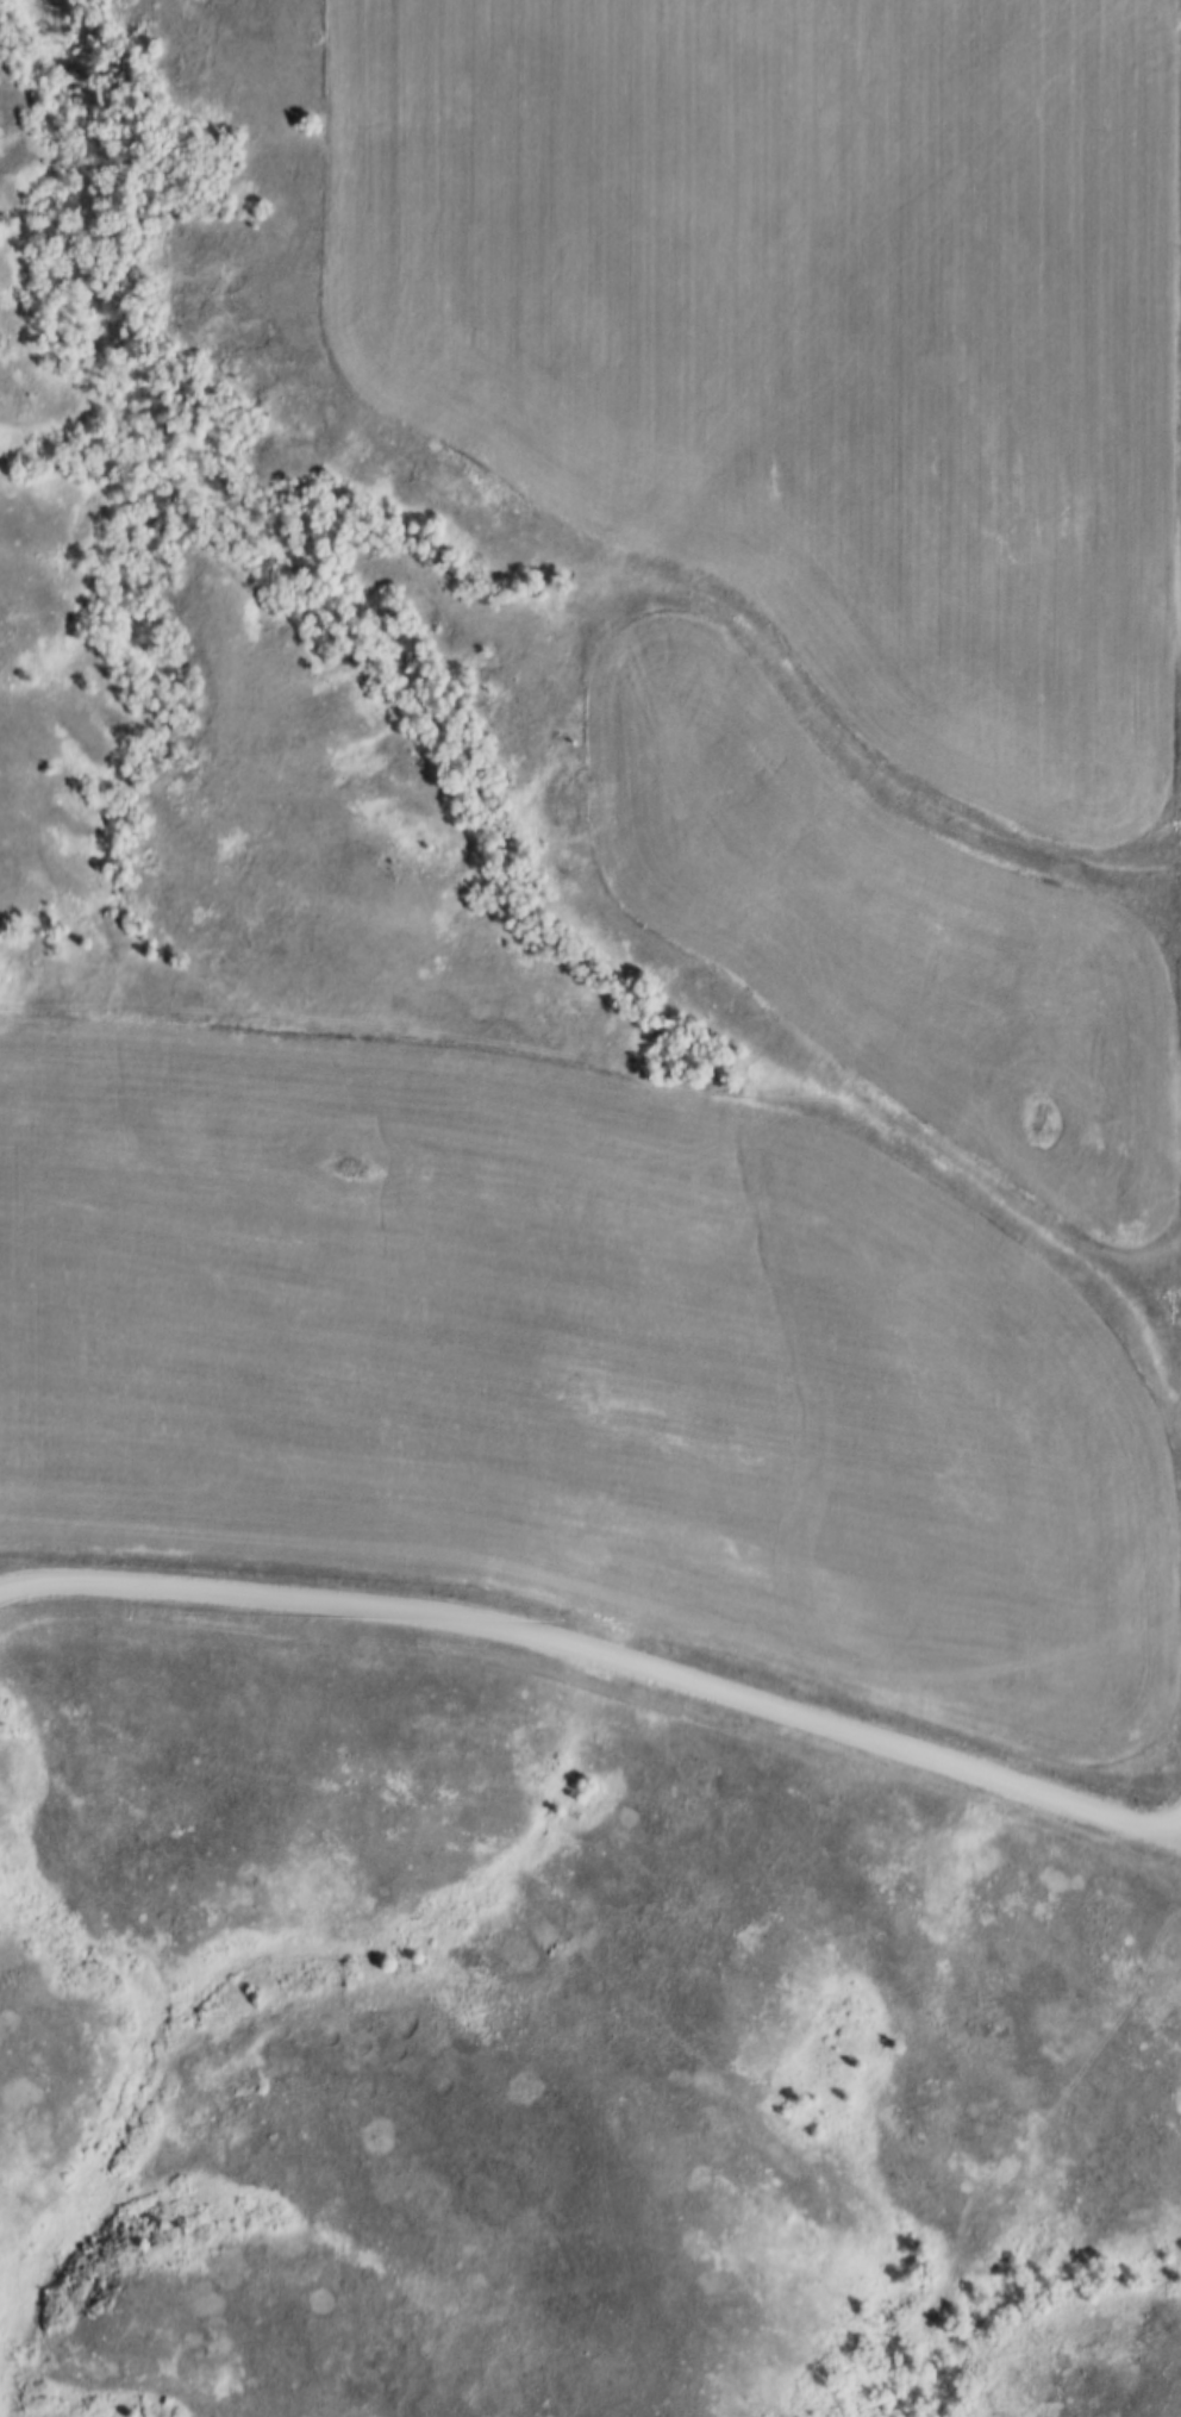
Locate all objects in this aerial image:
road: (13, 1575)
road: (601, 1657)

